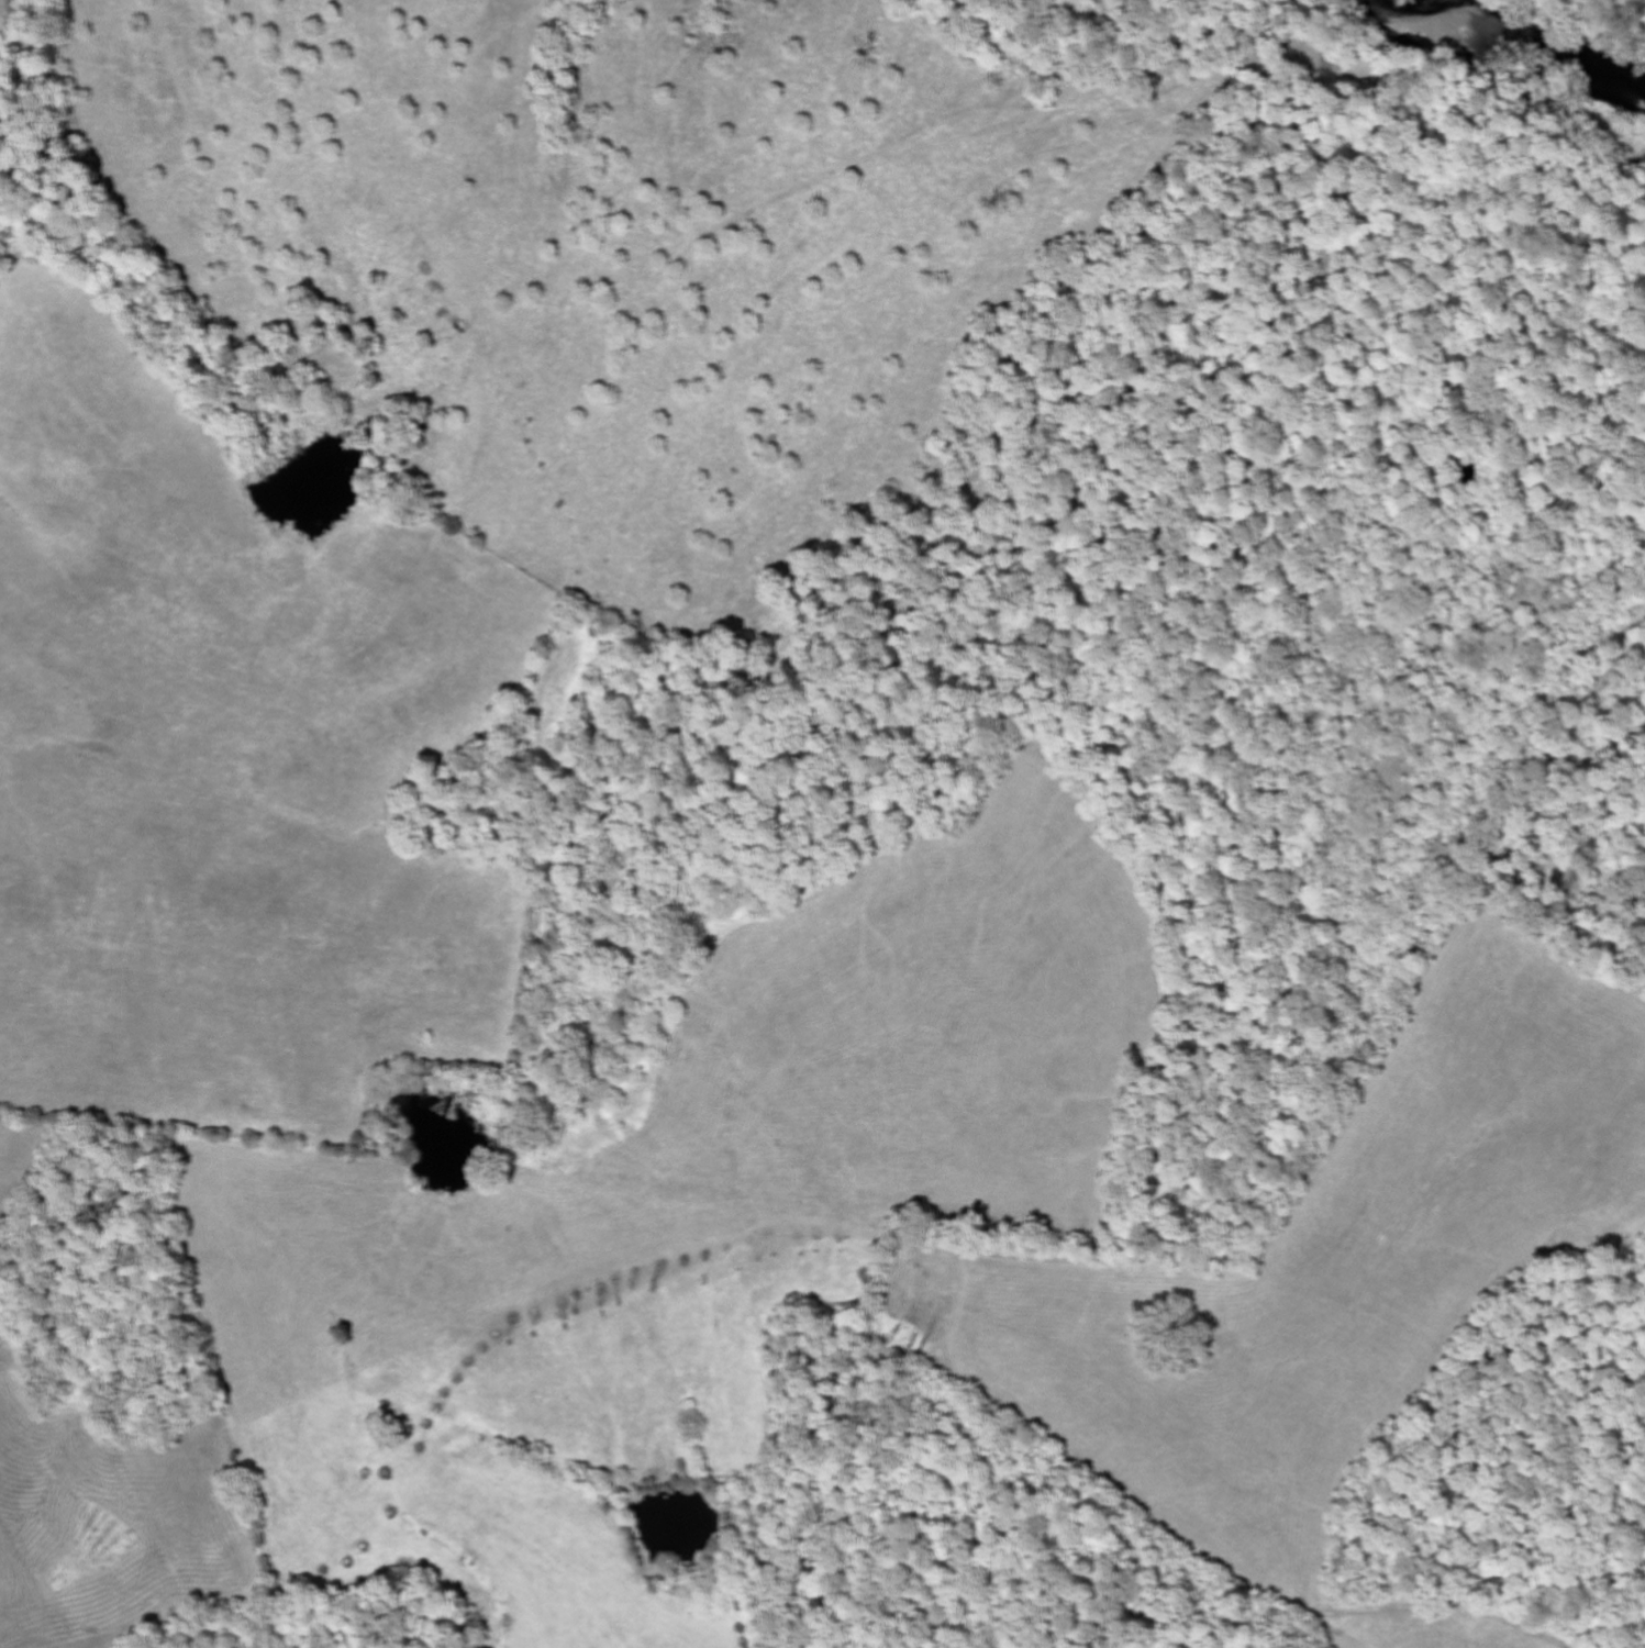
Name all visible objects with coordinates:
river: (1416, 2)
river: (1555, 52)

